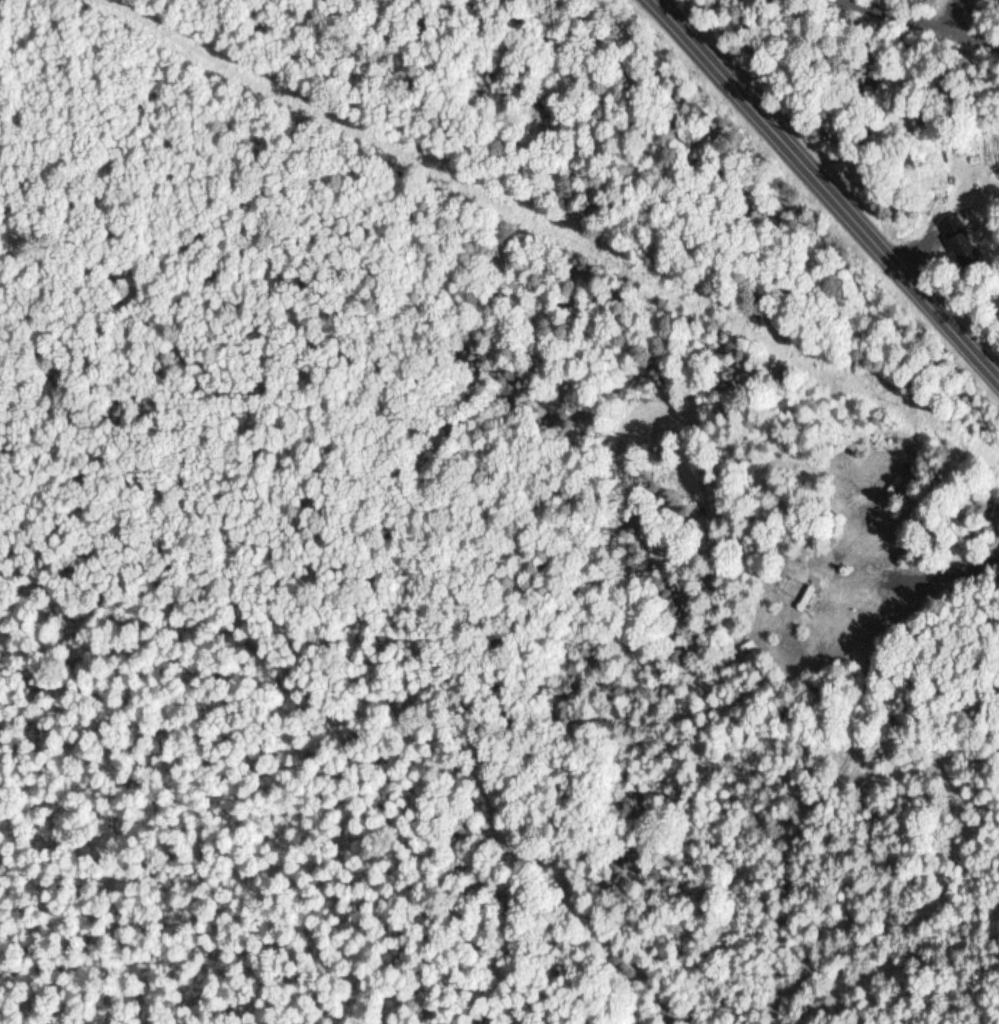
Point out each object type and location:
road: (931, 23)
road: (825, 188)
building: (961, 240)

